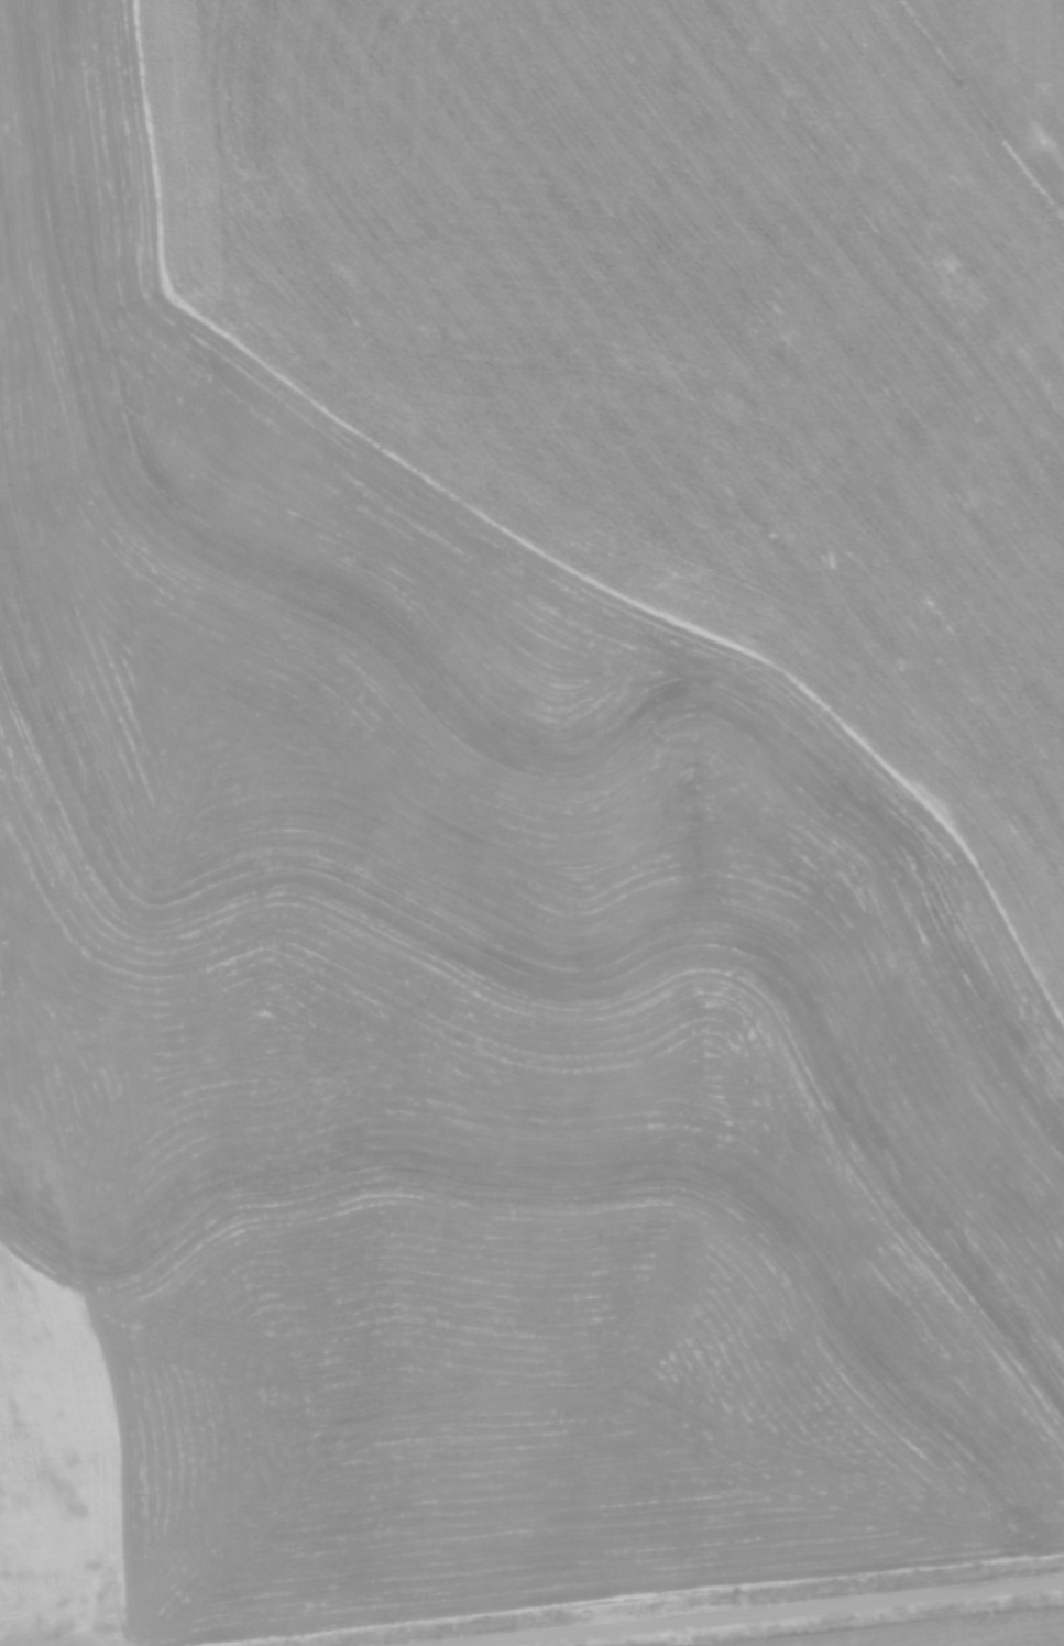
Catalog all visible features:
road: (771, 1612)

